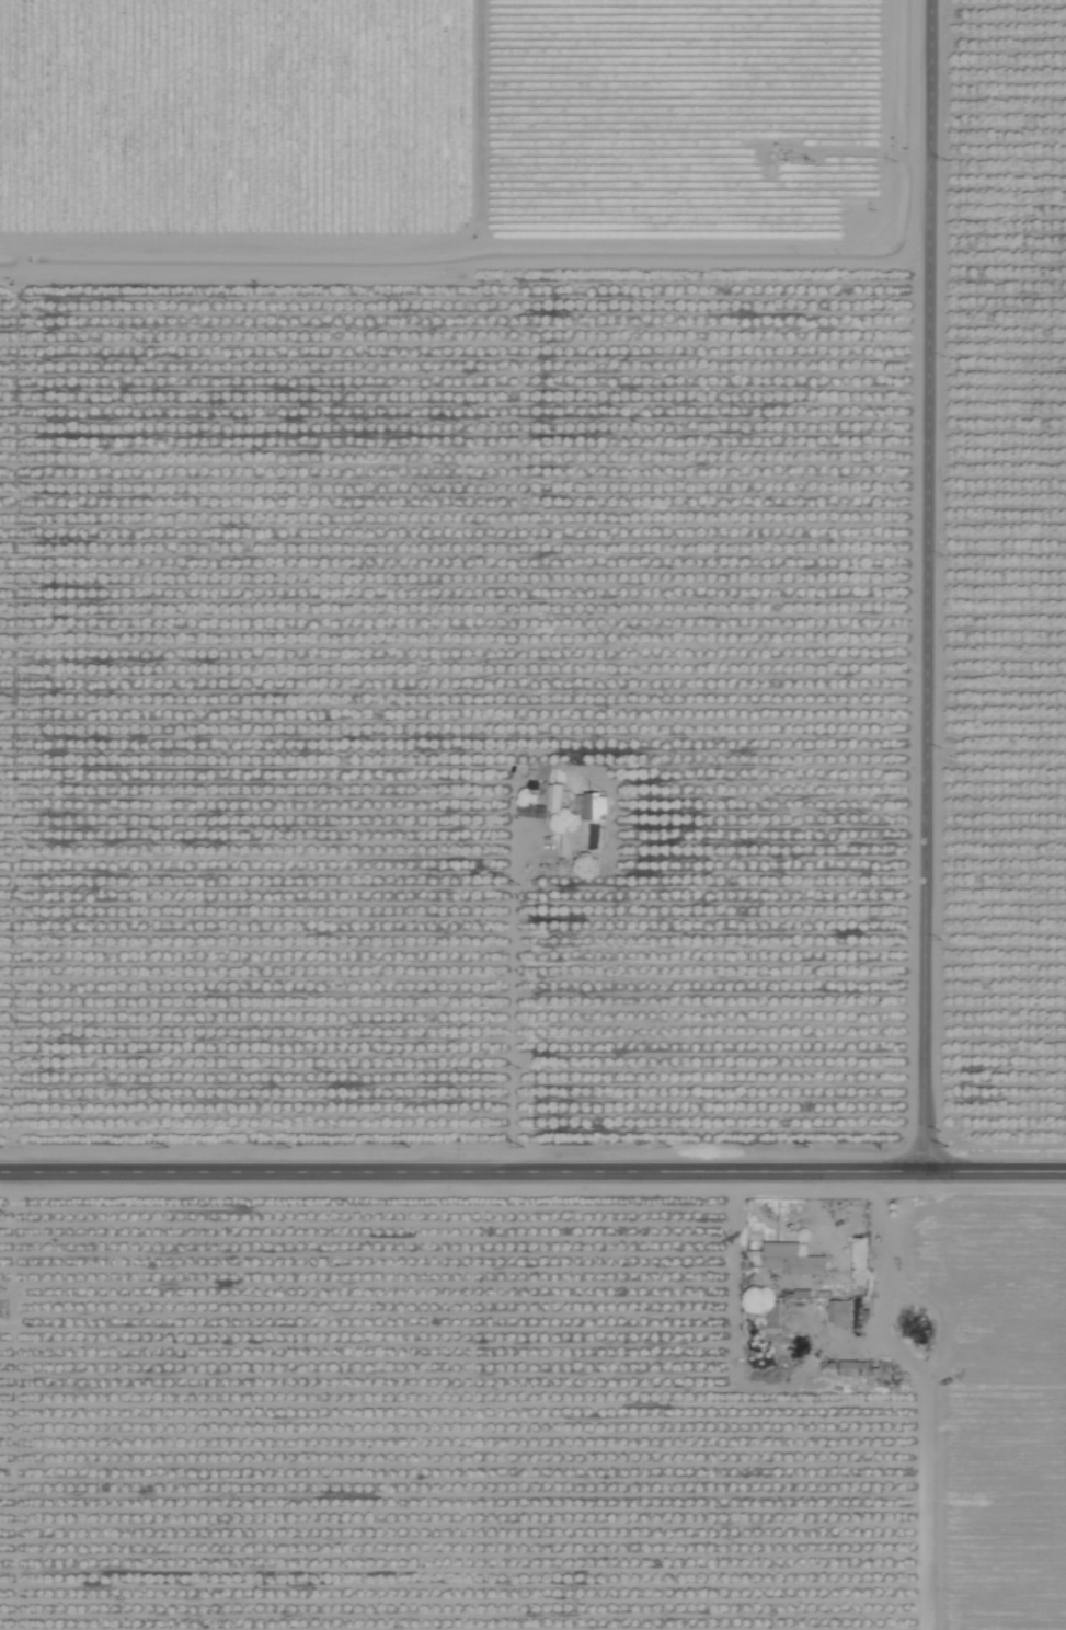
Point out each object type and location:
road: (926, 587)
building: (593, 805)
crop: (532, 815)
building: (140, 875)
road: (515, 997)
road: (532, 1172)
building: (860, 1259)
building: (792, 1260)
building: (841, 1313)
building: (775, 1315)
building: (913, 1325)
building: (866, 1367)
road: (922, 1390)
road: (13, 1401)

